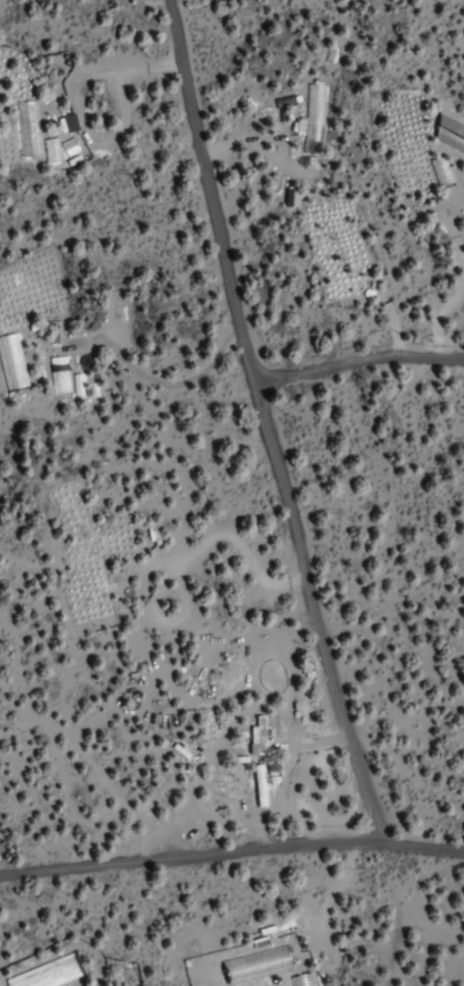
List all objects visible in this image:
building: (26, 128)
road: (355, 357)
building: (46, 359)
building: (11, 364)
road: (259, 421)
building: (256, 785)
road: (231, 847)

